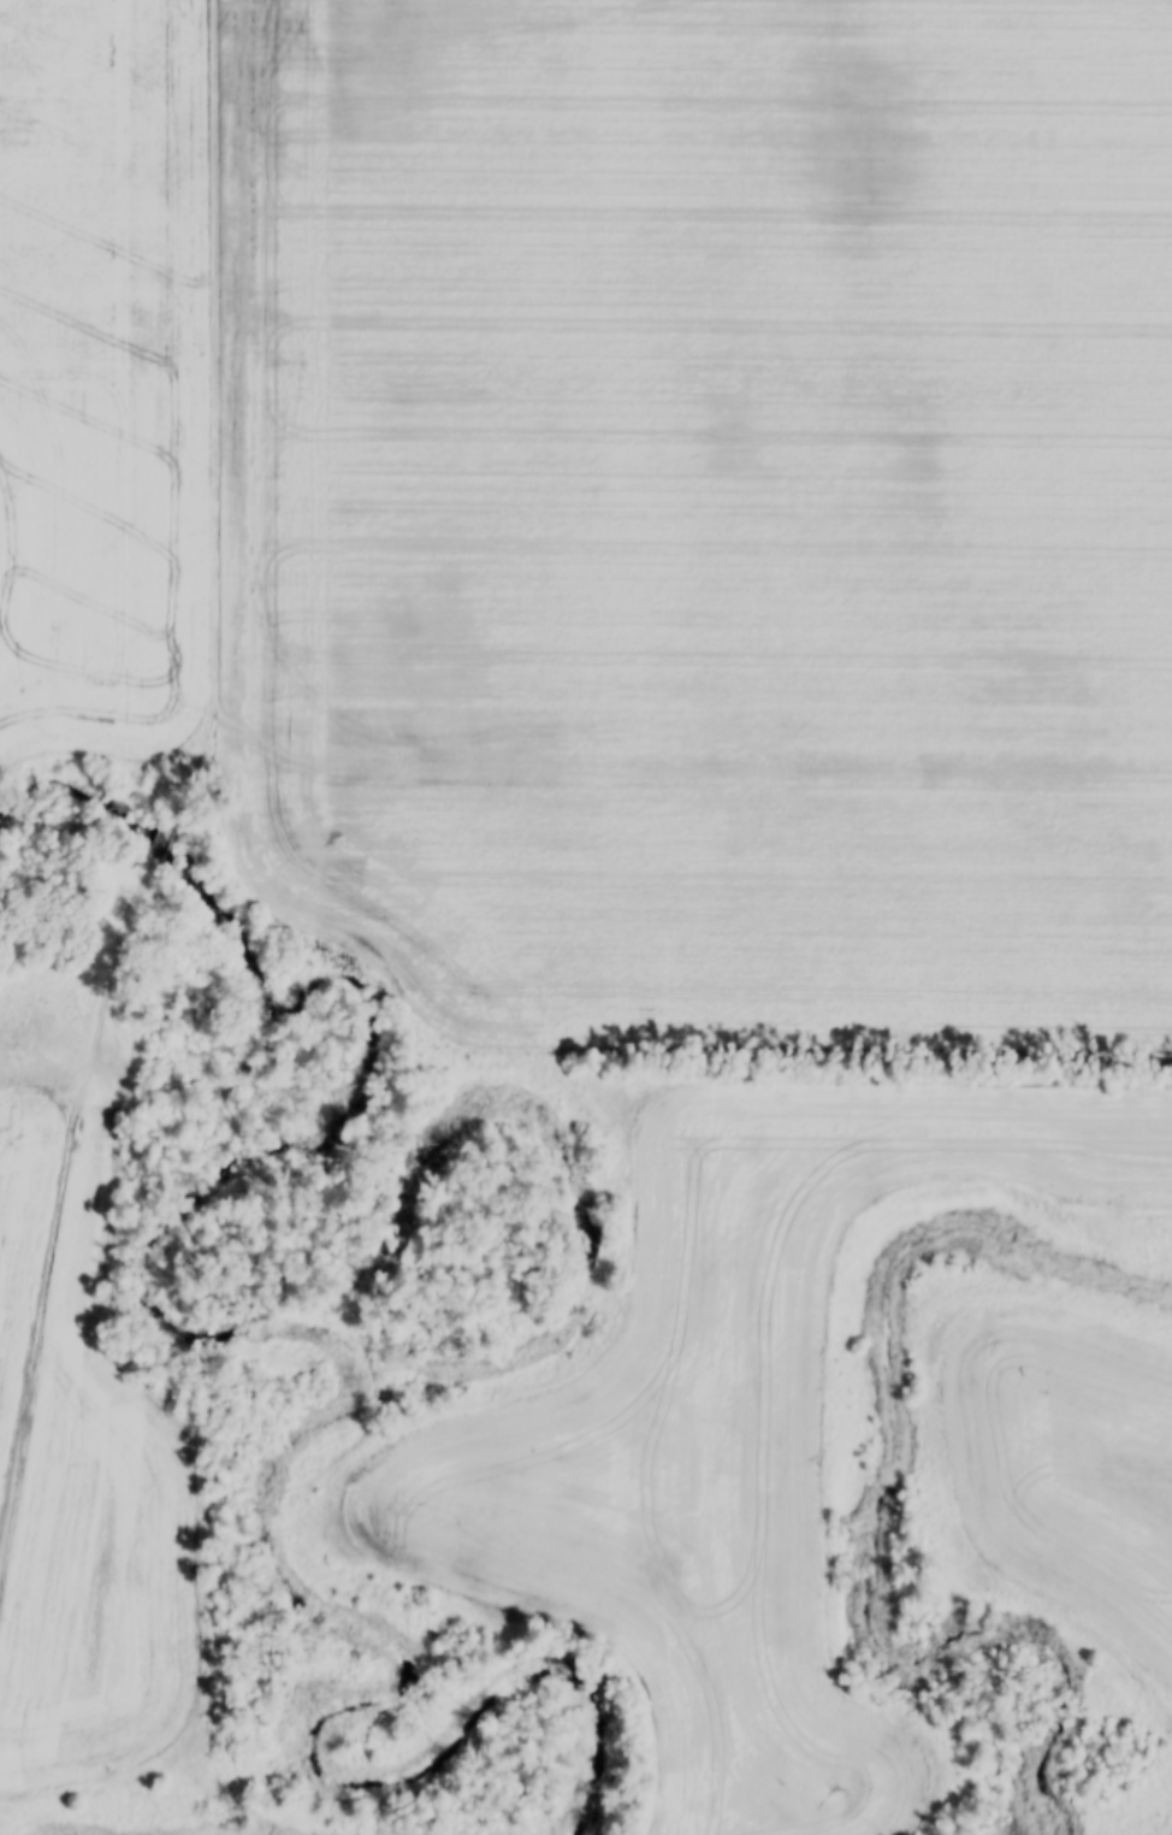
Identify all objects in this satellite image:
road: (226, 423)
road: (154, 851)
road: (60, 1232)

